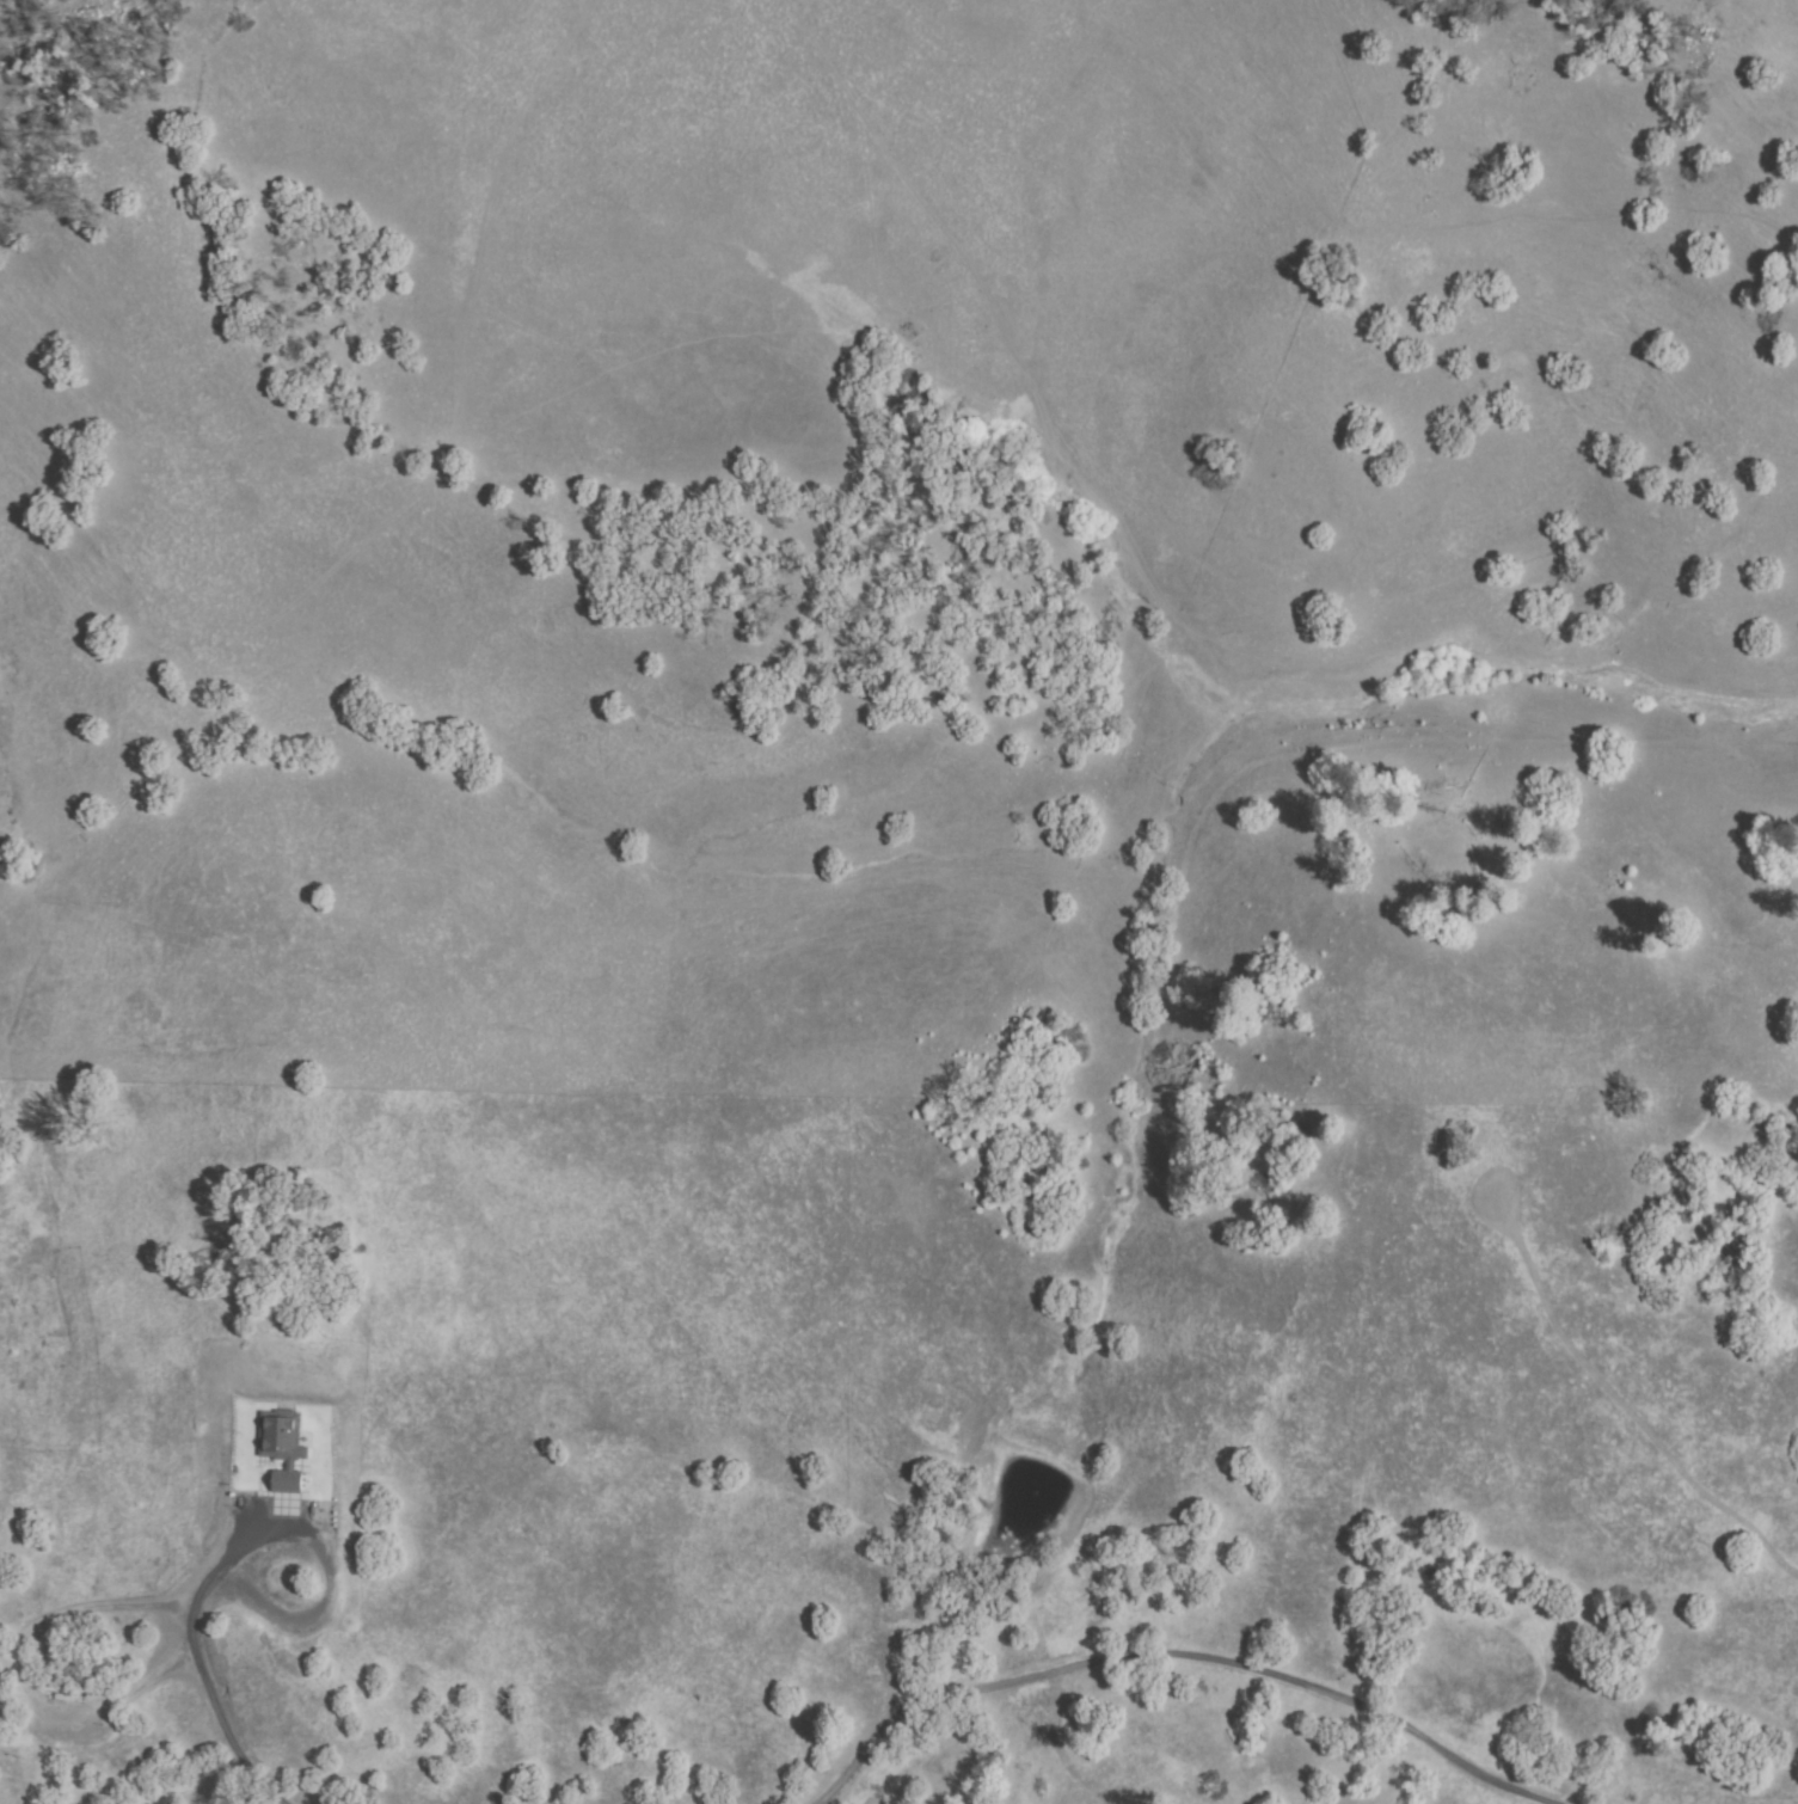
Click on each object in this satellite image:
building: (282, 1446)
building: (72, 1696)
building: (72, 1706)
building: (70, 1724)

